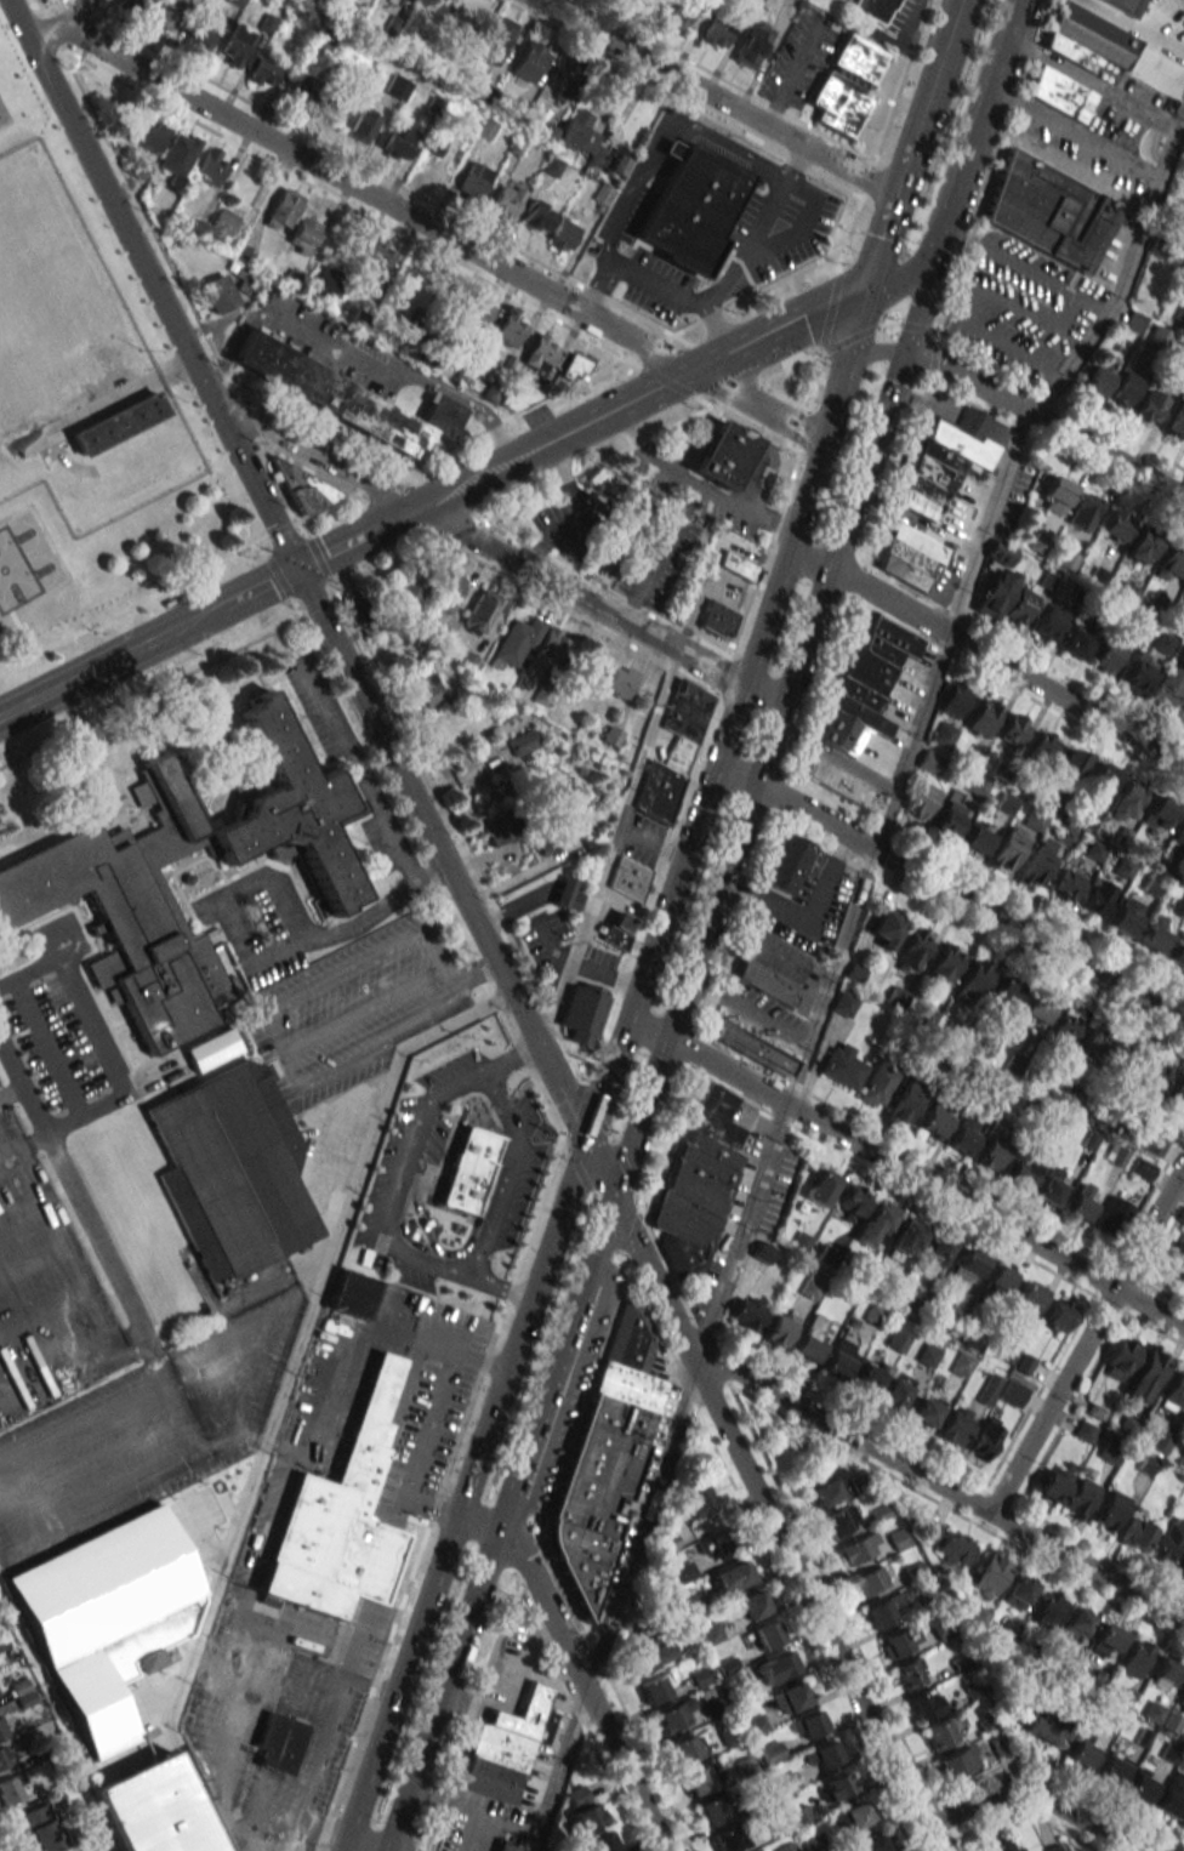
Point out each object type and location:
building: (756, 0)
building: (130, 4)
building: (1126, 5)
building: (870, 8)
building: (167, 12)
building: (678, 13)
road: (82, 17)
building: (449, 19)
road: (1129, 27)
building: (201, 32)
building: (713, 34)
building: (495, 40)
building: (1089, 41)
building: (751, 44)
building: (238, 46)
building: (529, 61)
building: (263, 70)
building: (562, 78)
building: (843, 82)
road: (1093, 84)
building: (397, 86)
building: (304, 89)
building: (1061, 97)
road: (716, 98)
road: (929, 98)
building: (362, 124)
road: (975, 131)
building: (546, 132)
building: (577, 132)
road: (1076, 135)
building: (149, 136)
building: (397, 139)
building: (178, 154)
building: (210, 166)
building: (472, 181)
building: (505, 200)
building: (690, 207)
building: (283, 209)
building: (1049, 211)
building: (536, 217)
building: (222, 223)
road: (428, 228)
building: (1178, 233)
building: (302, 234)
building: (563, 234)
road: (882, 245)
road: (746, 250)
building: (376, 257)
traffic signals: (930, 264)
road: (1025, 269)
road: (636, 275)
building: (294, 279)
road: (899, 279)
building: (325, 281)
building: (218, 294)
traffic signals: (867, 294)
road: (964, 298)
building: (476, 313)
road: (798, 324)
building: (508, 329)
building: (1159, 338)
building: (540, 352)
road: (864, 352)
road: (892, 352)
building: (1180, 352)
building: (575, 366)
road: (397, 368)
building: (1098, 380)
building: (1125, 389)
building: (346, 398)
building: (1150, 405)
park: (81, 420)
building: (1176, 420)
road: (1046, 421)
building: (118, 428)
road: (564, 434)
building: (722, 454)
building: (945, 459)
road: (694, 485)
building: (301, 486)
building: (1057, 495)
building: (1083, 511)
road: (918, 520)
building: (1115, 524)
road: (348, 542)
building: (1142, 545)
road: (497, 551)
road: (656, 551)
building: (1001, 552)
park: (29, 554)
building: (910, 557)
building: (1171, 562)
building: (735, 565)
traffic signals: (296, 569)
building: (412, 582)
road: (303, 583)
road: (261, 586)
building: (448, 591)
building: (996, 592)
building: (1182, 593)
building: (1020, 605)
building: (480, 610)
building: (716, 619)
building: (1051, 621)
building: (518, 642)
building: (1076, 643)
building: (1163, 643)
building: (552, 645)
road: (987, 654)
building: (1108, 655)
road: (112, 660)
building: (1137, 672)
building: (423, 682)
building: (619, 682)
building: (865, 685)
building: (1168, 688)
building: (955, 700)
building: (568, 702)
building: (684, 710)
building: (1182, 711)
building: (984, 717)
road: (730, 721)
building: (444, 724)
building: (1014, 729)
building: (944, 734)
building: (522, 742)
building: (1042, 747)
building: (676, 754)
road: (837, 757)
road: (642, 758)
building: (929, 762)
building: (1072, 764)
building: (1104, 778)
building: (841, 784)
building: (656, 791)
building: (1131, 793)
building: (921, 801)
building: (1161, 811)
building: (949, 818)
building: (495, 828)
building: (1179, 835)
building: (978, 837)
building: (551, 839)
building: (1008, 848)
building: (787, 862)
building: (1036, 866)
building: (627, 878)
building: (1066, 884)
building: (79, 887)
building: (563, 892)
road: (951, 892)
building: (1097, 898)
building: (1125, 916)
road: (812, 919)
parking lot: (258, 923)
building: (887, 929)
building: (615, 930)
building: (913, 950)
building: (1177, 953)
road: (257, 958)
building: (945, 966)
building: (772, 967)
road: (833, 969)
road: (343, 972)
road: (472, 973)
road: (444, 978)
building: (973, 983)
building: (1004, 992)
building: (844, 1004)
parking lot: (351, 1008)
road: (360, 1009)
building: (580, 1012)
road: (751, 1012)
building: (1032, 1012)
building: (1064, 1027)
parking lot: (66, 1029)
road: (637, 1029)
road: (102, 1036)
road: (366, 1042)
building: (1093, 1042)
building: (753, 1048)
building: (211, 1049)
road: (512, 1055)
road: (661, 1058)
building: (1125, 1058)
building: (843, 1066)
building: (1150, 1081)
building: (873, 1087)
building: (1176, 1097)
building: (904, 1104)
building: (935, 1120)
building: (963, 1135)
building: (1155, 1145)
traffic signals: (588, 1146)
building: (1115, 1154)
building: (991, 1155)
building: (232, 1167)
building: (471, 1167)
building: (1143, 1169)
road: (503, 1172)
building: (1020, 1172)
parking lot: (451, 1175)
road: (916, 1177)
building: (698, 1183)
building: (1051, 1186)
building: (821, 1188)
road: (73, 1189)
traffic signals: (613, 1196)
building: (853, 1200)
building: (1080, 1202)
road: (387, 1212)
building: (1112, 1215)
building: (876, 1224)
building: (907, 1237)
building: (937, 1249)
building: (763, 1252)
building: (829, 1255)
building: (1176, 1261)
building: (967, 1269)
building: (1000, 1277)
building: (813, 1285)
building: (352, 1294)
building: (1025, 1300)
building: (748, 1312)
building: (1057, 1315)
building: (778, 1328)
building: (810, 1339)
road: (1086, 1339)
building: (1118, 1359)
building: (839, 1360)
building: (962, 1365)
building: (1145, 1373)
building: (867, 1378)
parking lot: (104, 1380)
building: (987, 1389)
building: (895, 1391)
building: (1173, 1392)
road: (279, 1394)
building: (1011, 1394)
building: (926, 1411)
building: (956, 1425)
building: (1085, 1431)
building: (985, 1437)
building: (1159, 1440)
building: (1110, 1451)
building: (597, 1482)
building: (1053, 1483)
building: (827, 1487)
road: (943, 1487)
building: (1078, 1497)
road: (465, 1498)
building: (698, 1498)
road: (767, 1508)
building: (1108, 1510)
building: (342, 1516)
building: (839, 1521)
building: (1135, 1533)
building: (1168, 1540)
building: (723, 1542)
building: (858, 1549)
building: (952, 1549)
building: (1180, 1568)
building: (684, 1572)
building: (990, 1573)
building: (732, 1576)
building: (869, 1581)
building: (101, 1587)
building: (1018, 1590)
building: (750, 1606)
building: (1046, 1608)
building: (882, 1611)
building: (1076, 1623)
building: (285, 1635)
building: (768, 1635)
road: (550, 1640)
building: (898, 1641)
building: (1108, 1641)
building: (651, 1656)
building: (1135, 1657)
building: (782, 1664)
road: (579, 1668)
building: (909, 1674)
building: (1165, 1674)
building: (655, 1688)
building: (790, 1697)
building: (1180, 1699)
building: (924, 1703)
building: (91, 1705)
road: (581, 1714)
building: (673, 1714)
road: (471, 1715)
building: (1161, 1716)
building: (808, 1725)
building: (2, 1728)
building: (1047, 1728)
building: (945, 1730)
building: (729, 1735)
building: (279, 1742)
building: (506, 1747)
building: (688, 1747)
building: (1082, 1749)
building: (772, 1752)
building: (6, 1754)
building: (824, 1755)
building: (957, 1764)
building: (1111, 1769)
building: (699, 1778)
building: (838, 1784)
building: (1140, 1785)
building: (13, 1788)
building: (1171, 1796)
road: (1029, 1798)
building: (154, 1809)
road: (473, 1809)
building: (584, 1810)
building: (713, 1811)
building: (855, 1815)
building: (1183, 1824)
building: (38, 1828)
road: (474, 1832)
building: (728, 1838)
building: (602, 1843)
building: (865, 1843)
road: (359, 1845)
building: (1004, 1845)
road: (425, 1846)
building: (506, 1847)
building: (787, 1847)
building: (1053, 1849)
road: (417, 1850)

